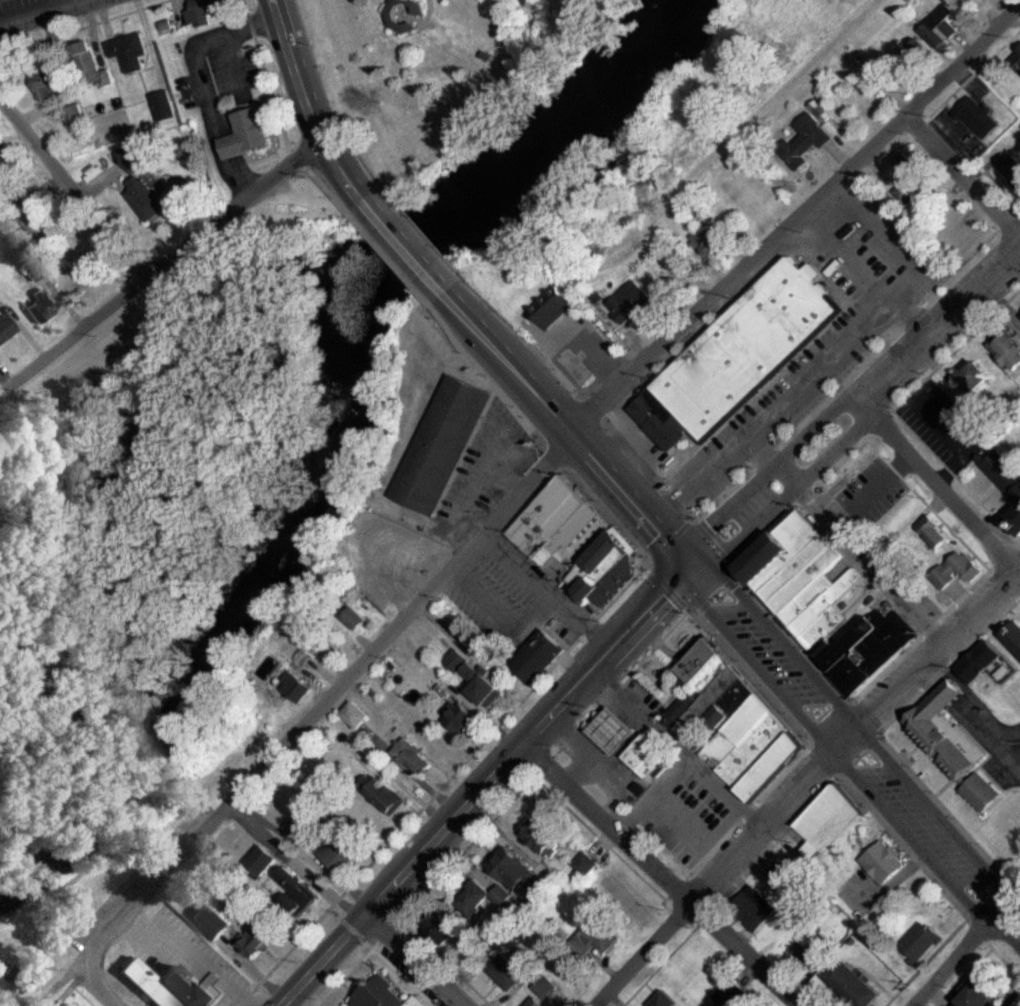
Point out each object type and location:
building: (203, 12)
road: (48, 15)
building: (945, 27)
building: (129, 52)
building: (1017, 60)
building: (92, 65)
road: (198, 79)
building: (48, 83)
road: (312, 105)
building: (165, 106)
building: (74, 116)
building: (980, 118)
building: (816, 132)
building: (252, 134)
building: (134, 159)
building: (1013, 169)
road: (963, 174)
road: (72, 188)
road: (797, 221)
road: (406, 245)
road: (162, 265)
building: (35, 269)
building: (632, 303)
building: (42, 307)
building: (556, 308)
building: (6, 329)
building: (1010, 350)
building: (741, 358)
building: (979, 378)
road: (856, 410)
river: (315, 424)
road: (568, 427)
building: (445, 446)
building: (1005, 472)
road: (942, 487)
building: (553, 519)
building: (1016, 520)
building: (934, 532)
traffic signals: (692, 568)
building: (608, 570)
building: (961, 570)
building: (804, 579)
building: (430, 635)
building: (1013, 637)
building: (872, 650)
building: (539, 658)
road: (934, 658)
building: (458, 661)
building: (982, 663)
building: (486, 686)
building: (298, 688)
building: (358, 716)
building: (464, 719)
road: (309, 720)
building: (736, 726)
building: (617, 731)
building: (956, 745)
building: (356, 747)
road: (855, 750)
building: (649, 755)
building: (415, 758)
road: (482, 783)
building: (386, 796)
building: (831, 822)
building: (304, 823)
building: (1016, 836)
building: (548, 839)
building: (343, 856)
building: (264, 862)
building: (884, 863)
building: (587, 865)
building: (791, 871)
road: (720, 872)
road: (658, 874)
building: (519, 875)
building: (298, 893)
building: (484, 899)
road: (1010, 902)
building: (754, 909)
building: (800, 912)
building: (213, 922)
building: (445, 930)
building: (601, 936)
building: (815, 939)
building: (258, 942)
building: (922, 943)
road: (414, 959)
road: (957, 959)
building: (506, 973)
building: (170, 987)
building: (853, 987)
road: (98, 989)
building: (544, 992)
building: (730, 993)
building: (383, 996)
building: (983, 998)
building: (663, 1000)
building: (1006, 1005)

